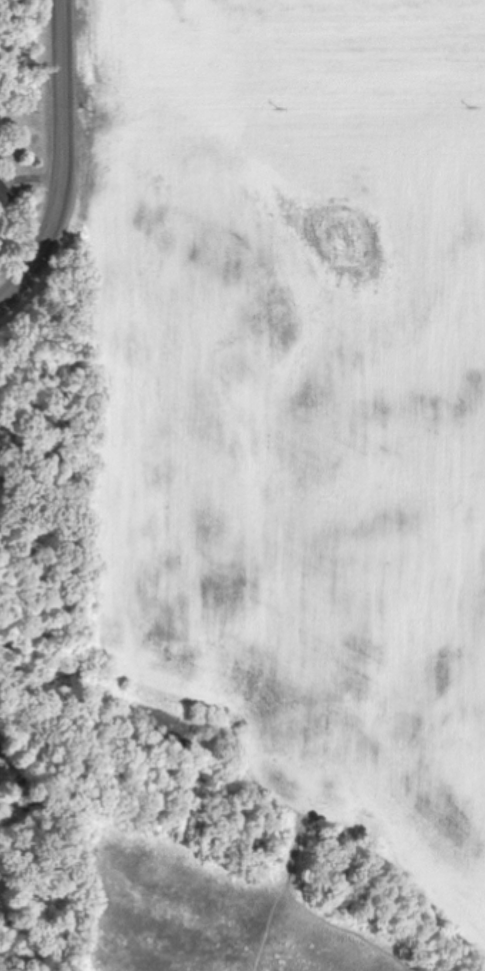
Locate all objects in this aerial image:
road: (59, 159)
building: (4, 192)

